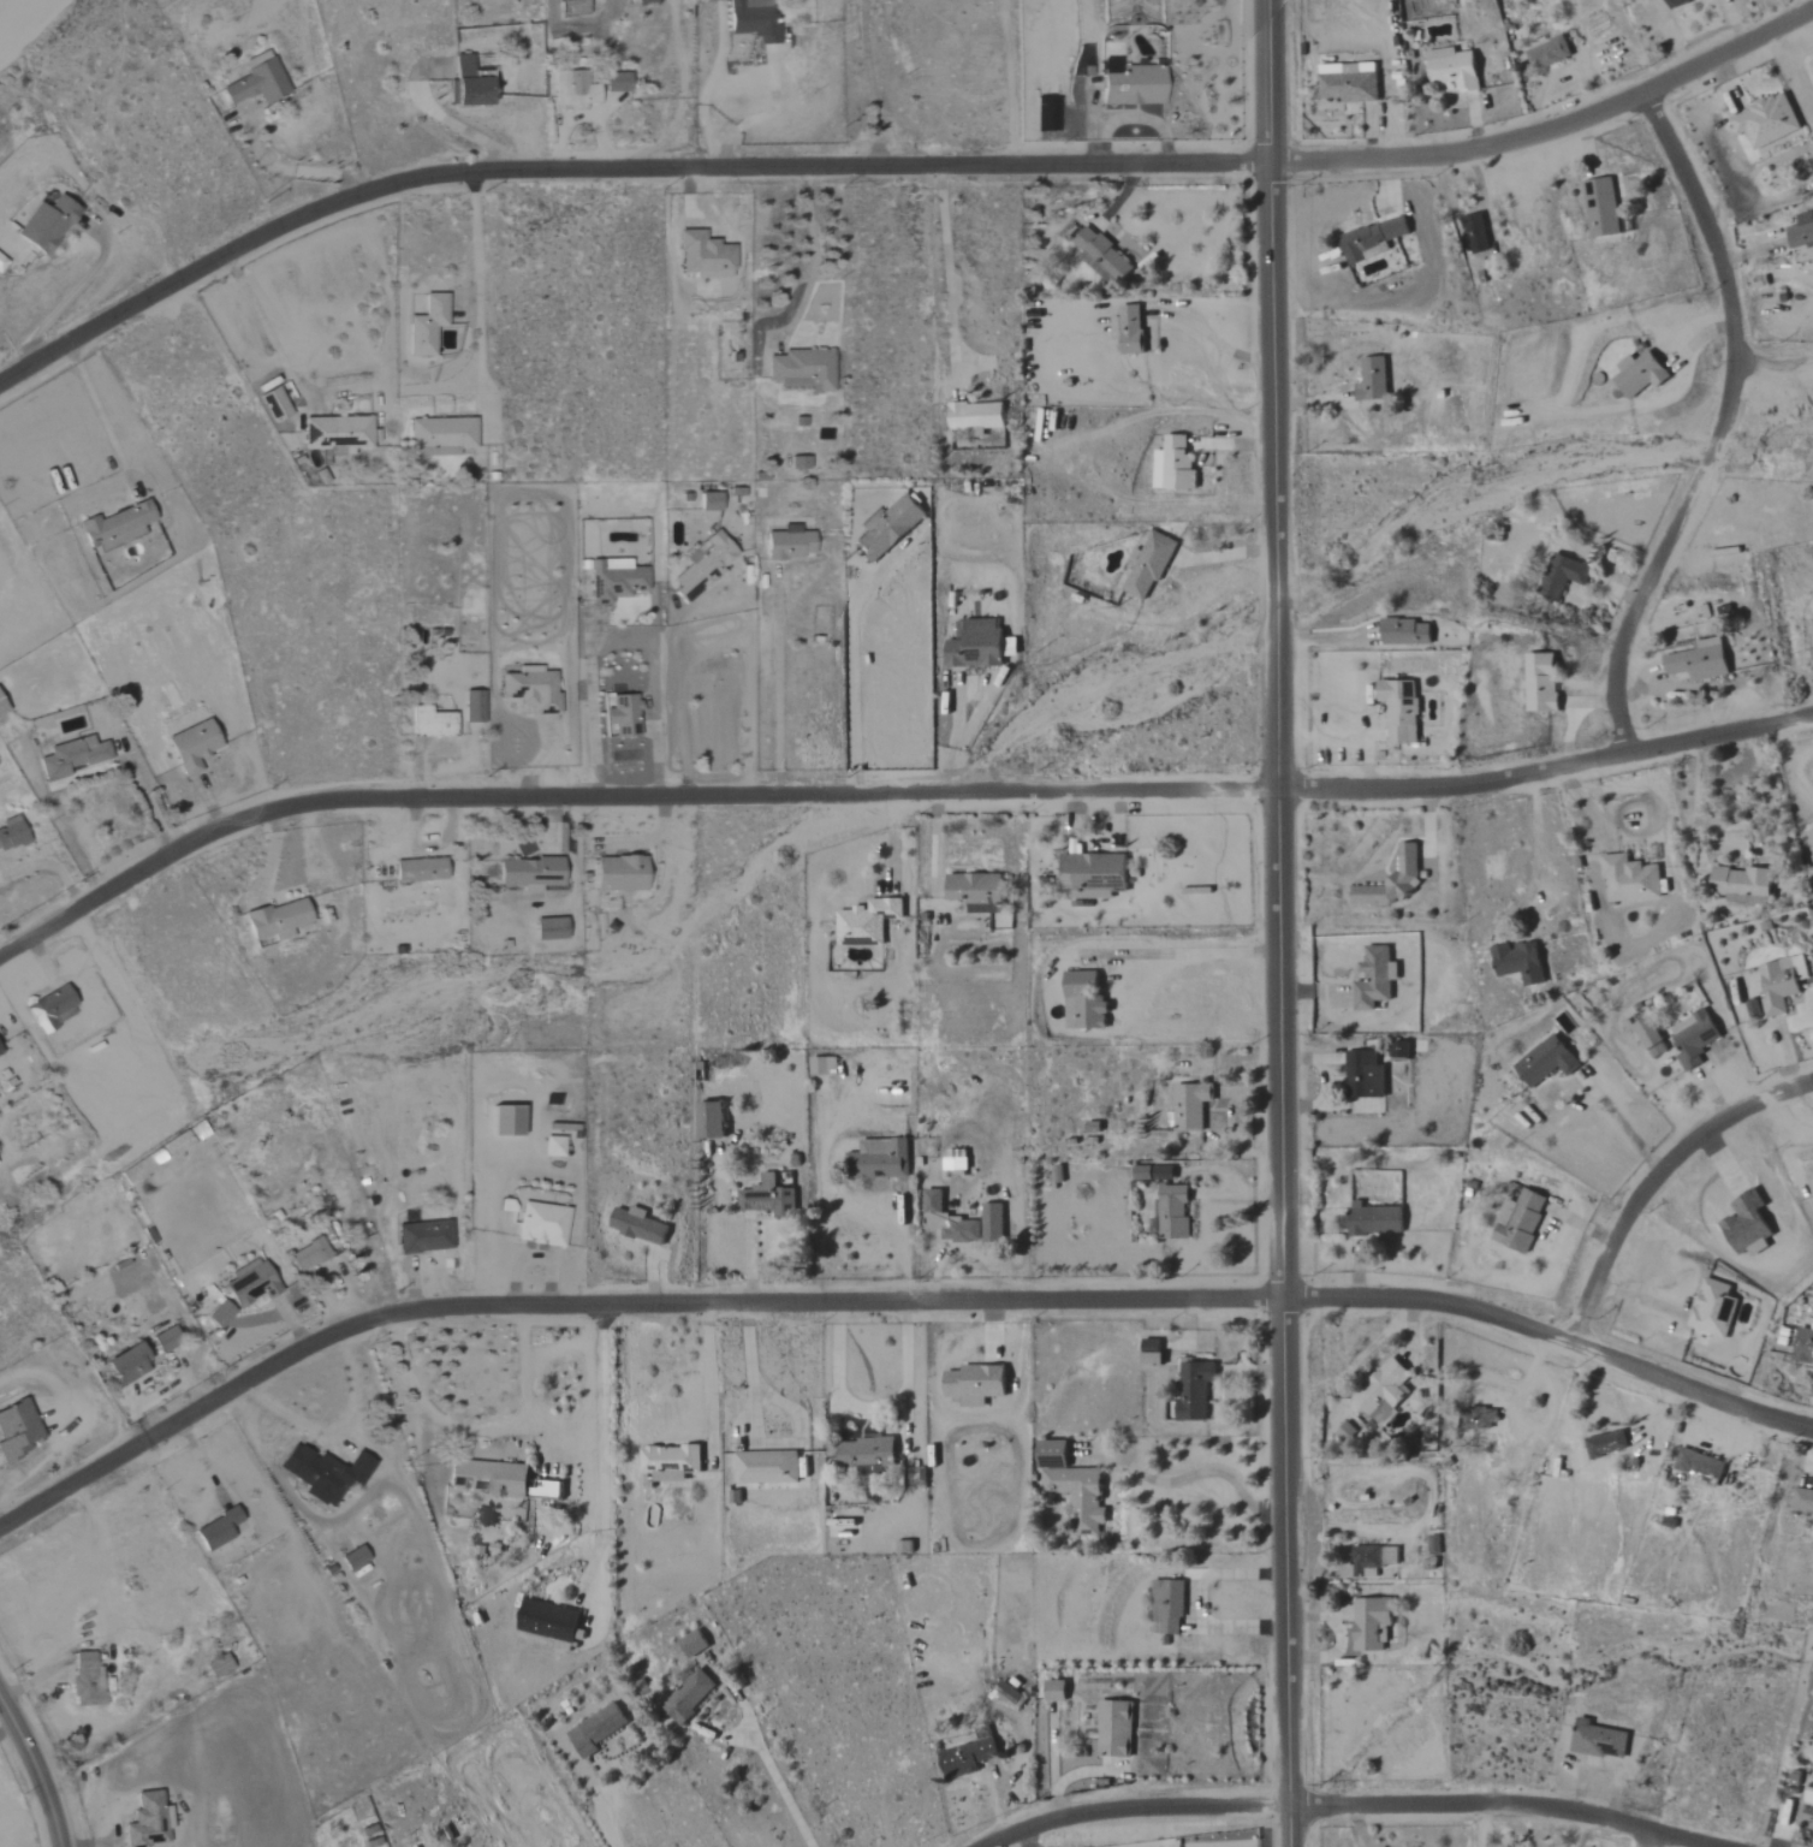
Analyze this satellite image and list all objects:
building: (646, 1)
building: (1674, 2)
building: (573, 7)
building: (754, 20)
building: (1547, 54)
building: (1452, 69)
building: (257, 82)
building: (617, 83)
road: (868, 83)
building: (1348, 83)
building: (469, 84)
building: (1134, 87)
building: (572, 90)
building: (1047, 114)
road: (760, 115)
building: (1767, 121)
road: (459, 127)
road: (896, 167)
road: (298, 171)
building: (1601, 208)
building: (46, 225)
building: (1801, 230)
building: (1475, 234)
building: (1372, 240)
building: (705, 256)
building: (1101, 257)
road: (812, 261)
road: (946, 272)
road: (477, 293)
road: (65, 298)
road: (1272, 304)
road: (258, 316)
building: (427, 326)
road: (1209, 337)
road: (1772, 368)
building: (802, 372)
building: (1640, 375)
building: (1372, 380)
building: (275, 405)
road: (97, 416)
building: (976, 418)
road: (1722, 426)
building: (337, 435)
building: (440, 436)
building: (798, 464)
building: (1173, 467)
building: (709, 501)
building: (115, 528)
building: (888, 528)
building: (789, 545)
building: (1151, 565)
building: (705, 568)
building: (1563, 577)
building: (614, 581)
road: (1277, 622)
building: (1407, 633)
road: (619, 642)
road: (721, 643)
building: (976, 647)
building: (1011, 648)
road: (850, 652)
building: (1700, 661)
building: (1541, 683)
building: (531, 689)
building: (1, 708)
building: (472, 708)
building: (1401, 711)
building: (623, 717)
building: (432, 724)
building: (192, 746)
building: (70, 758)
road: (1702, 760)
road: (1707, 786)
road: (892, 797)
building: (11, 833)
road: (1533, 844)
road: (46, 863)
building: (1405, 865)
building: (420, 869)
building: (529, 873)
building: (619, 873)
building: (1093, 875)
building: (1631, 879)
building: (1743, 884)
building: (974, 887)
building: (277, 920)
building: (867, 922)
building: (549, 930)
road: (1185, 952)
building: (1521, 962)
building: (1375, 978)
building: (1782, 984)
building: (1084, 1002)
building: (1753, 1008)
building: (50, 1010)
building: (1694, 1038)
building: (1399, 1051)
building: (0, 1055)
building: (1547, 1061)
building: (824, 1065)
building: (1365, 1075)
building: (1191, 1105)
building: (711, 1120)
building: (553, 1146)
building: (882, 1160)
building: (957, 1162)
building: (1165, 1174)
road: (1654, 1178)
building: (767, 1198)
building: (1175, 1212)
building: (1374, 1219)
building: (950, 1221)
building: (1520, 1221)
building: (994, 1223)
building: (541, 1224)
building: (638, 1225)
building: (1749, 1225)
building: (424, 1237)
road: (1286, 1240)
building: (309, 1254)
building: (250, 1285)
road: (890, 1303)
building: (1712, 1306)
building: (220, 1314)
building: (165, 1340)
building: (1805, 1343)
building: (1152, 1352)
building: (127, 1364)
road: (708, 1368)
road: (751, 1370)
building: (976, 1384)
building: (1196, 1390)
building: (1384, 1394)
road: (869, 1408)
building: (1482, 1419)
building: (18, 1430)
road: (481, 1431)
building: (1345, 1432)
building: (1607, 1444)
road: (602, 1449)
building: (866, 1454)
building: (670, 1462)
building: (1699, 1465)
building: (769, 1467)
road: (1191, 1474)
building: (489, 1478)
building: (316, 1480)
building: (1075, 1487)
building: (1802, 1497)
building: (218, 1530)
building: (353, 1558)
building: (1372, 1560)
building: (1167, 1605)
building: (548, 1621)
building: (1372, 1623)
building: (694, 1644)
building: (218, 1667)
building: (87, 1681)
building: (1056, 1691)
building: (1007, 1694)
building: (689, 1697)
building: (1117, 1729)
building: (596, 1730)
building: (1599, 1740)
building: (969, 1758)
road: (36, 1772)
road: (779, 1788)
building: (1809, 1795)
road: (593, 1804)
road: (1347, 1806)
building: (148, 1822)
road: (1652, 1840)

